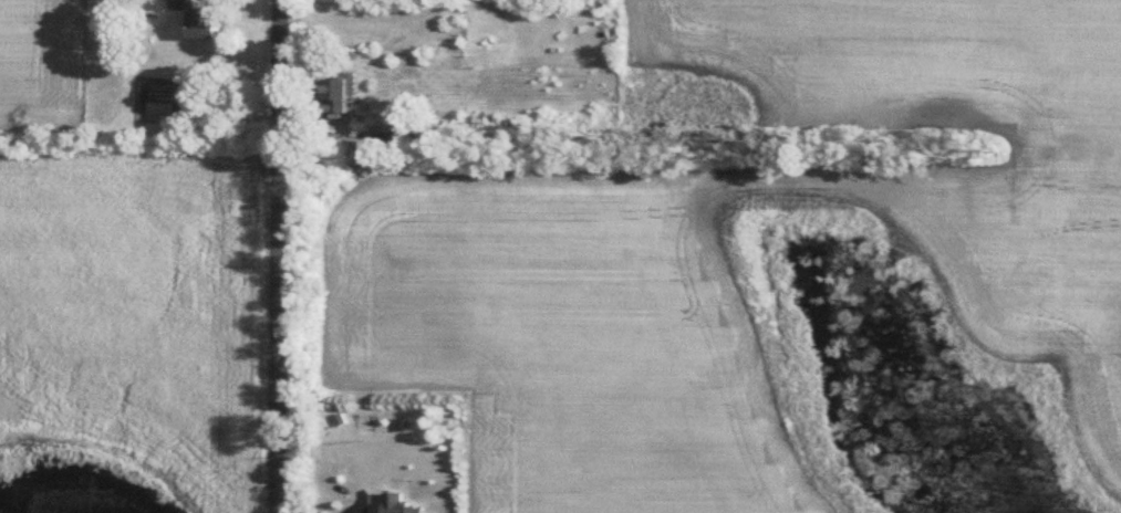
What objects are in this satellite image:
building: (179, 2)
building: (206, 18)
crop: (41, 60)
building: (340, 90)
crop: (961, 142)
road: (277, 256)
building: (402, 503)
road: (362, 506)

